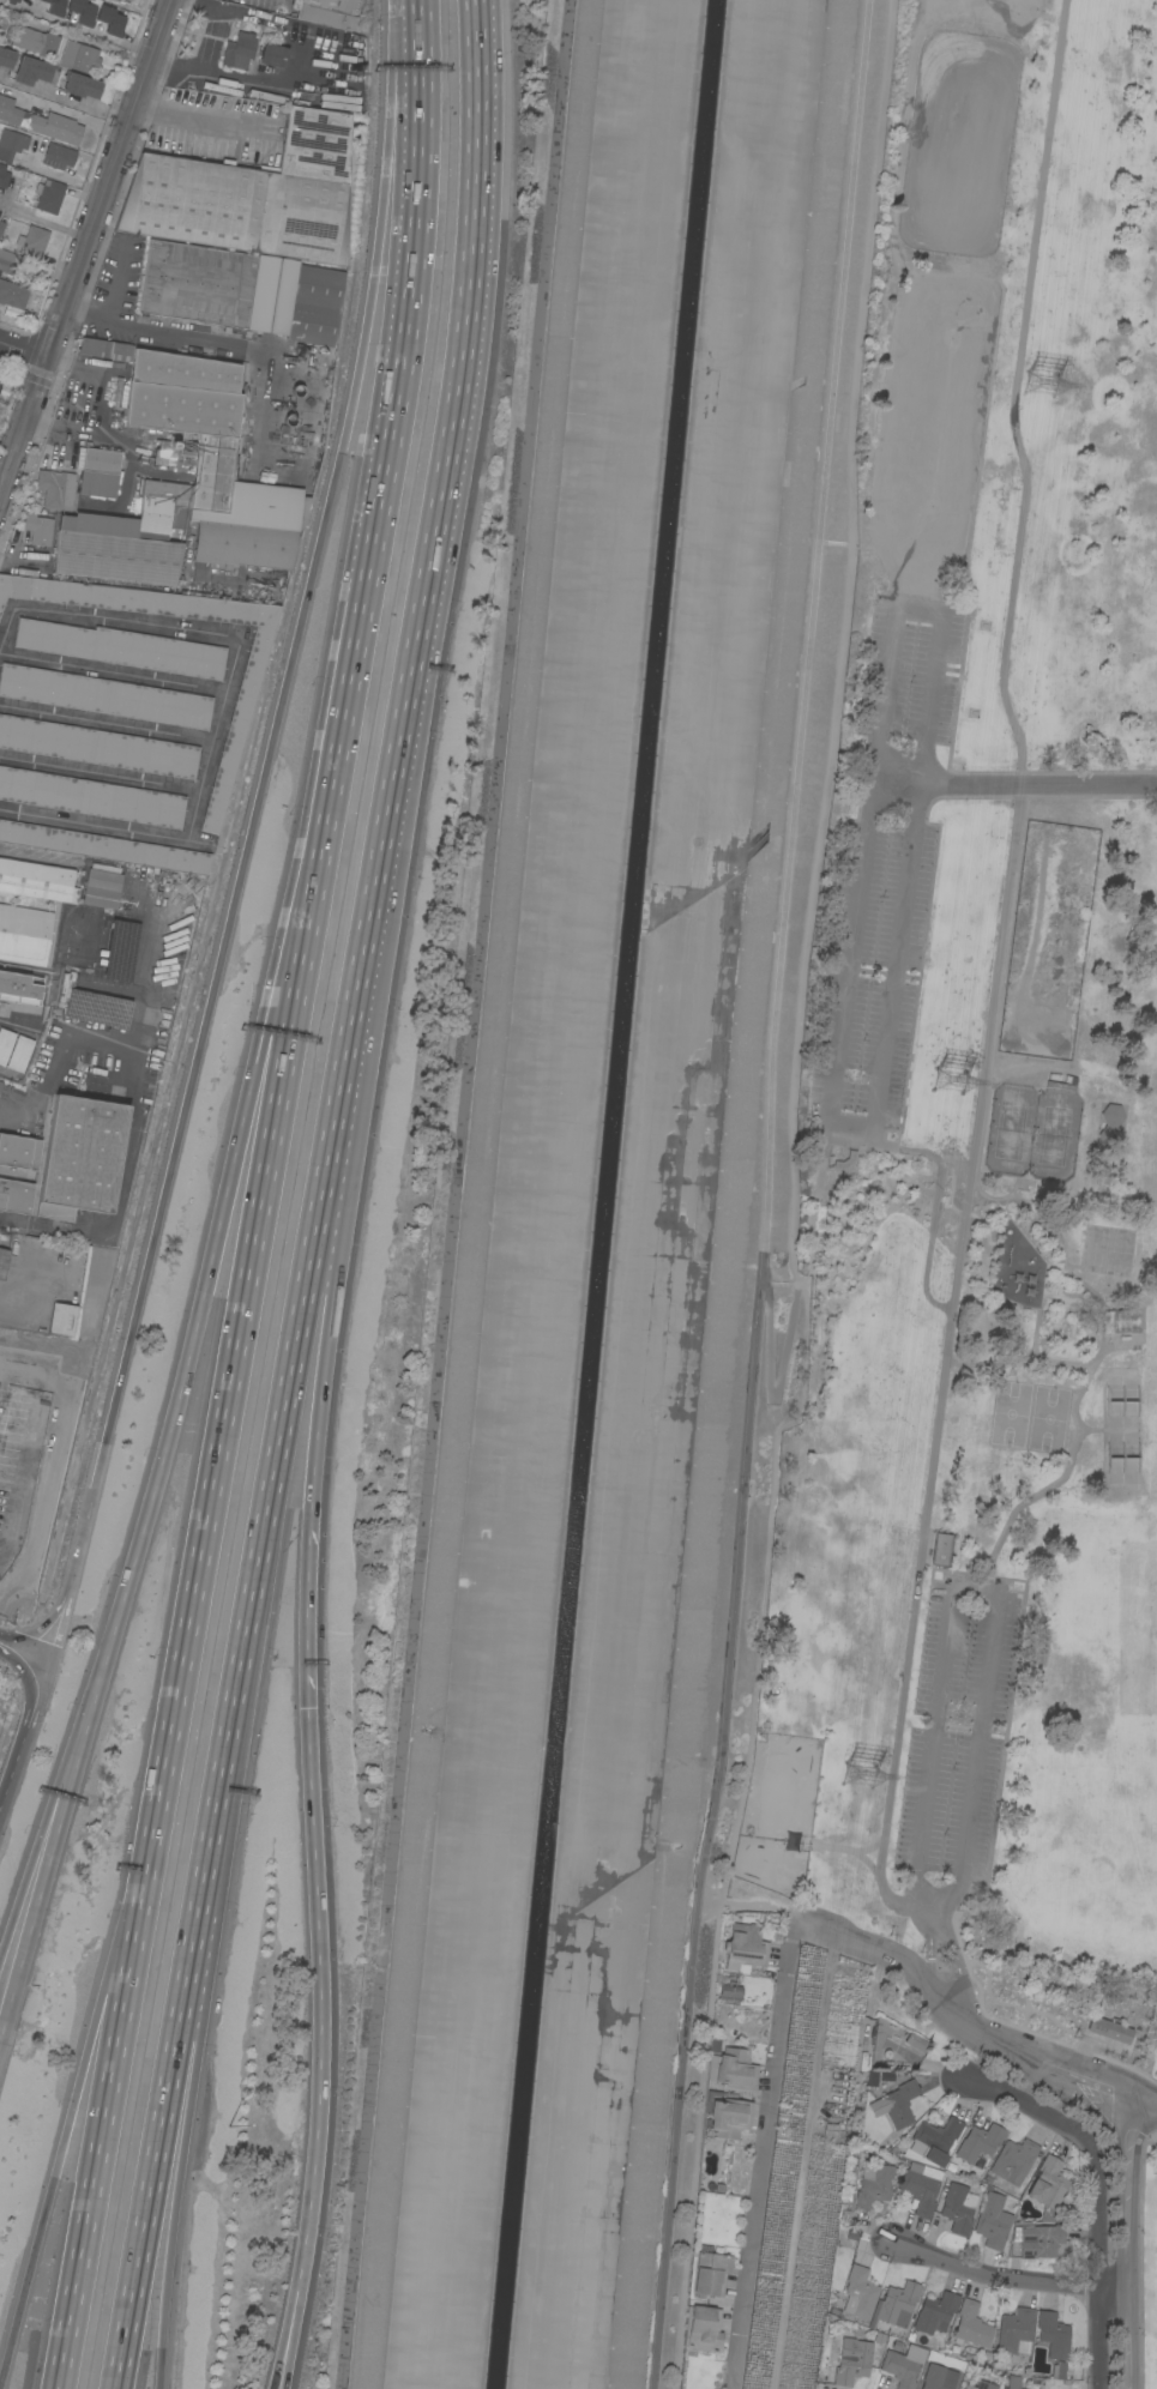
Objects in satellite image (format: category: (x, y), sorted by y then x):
building: (12, 1)
building: (120, 1)
building: (55, 7)
building: (82, 11)
building: (331, 12)
road: (252, 14)
building: (110, 19)
road: (82, 31)
building: (35, 41)
building: (239, 50)
building: (273, 55)
road: (295, 56)
building: (80, 58)
building: (5, 62)
building: (34, 72)
road: (249, 77)
building: (82, 86)
building: (11, 111)
road: (65, 113)
road: (209, 120)
building: (55, 127)
road: (394, 143)
building: (11, 144)
building: (59, 156)
building: (4, 175)
road: (60, 175)
building: (252, 194)
building: (49, 195)
road: (43, 225)
building: (32, 241)
road: (89, 249)
building: (6, 266)
building: (241, 290)
building: (12, 294)
road: (218, 345)
road: (25, 346)
building: (1, 381)
power tower: (1059, 385)
building: (307, 410)
building: (306, 423)
building: (305, 435)
road: (386, 439)
road: (10, 444)
building: (169, 445)
building: (303, 446)
building: (207, 458)
building: (302, 458)
building: (301, 469)
building: (98, 472)
building: (279, 478)
building: (56, 488)
road: (1, 490)
road: (440, 502)
building: (38, 529)
building: (249, 529)
parking lot: (875, 592)
road: (7, 632)
road: (231, 637)
building: (122, 647)
parking lot: (912, 666)
road: (113, 674)
building: (104, 695)
road: (107, 724)
building: (237, 728)
building: (98, 747)
road: (100, 774)
road: (1014, 788)
building: (91, 797)
road: (94, 825)
building: (103, 846)
building: (37, 880)
building: (103, 888)
road: (236, 889)
building: (24, 934)
building: (121, 951)
road: (291, 960)
road: (994, 969)
parking lot: (872, 971)
building: (20, 987)
building: (97, 1009)
building: (5, 1043)
building: (19, 1052)
road: (55, 1058)
park: (987, 1070)
power tower: (958, 1084)
building: (1, 1085)
building: (1110, 1124)
road: (874, 1126)
park: (1008, 1130)
road: (128, 1132)
park: (1053, 1135)
building: (19, 1152)
building: (80, 1157)
building: (845, 1160)
road: (938, 1186)
road: (339, 1192)
river: (607, 1194)
building: (16, 1195)
road: (765, 1195)
road: (790, 1201)
building: (4, 1259)
road: (791, 1315)
building: (62, 1319)
building: (1125, 1321)
road: (1034, 1334)
road: (1103, 1350)
road: (233, 1359)
road: (182, 1393)
building: (20, 1399)
park: (1010, 1413)
road: (1075, 1418)
park: (1047, 1419)
road: (1089, 1429)
park: (1119, 1430)
road: (29, 1458)
building: (7, 1532)
road: (78, 1545)
road: (306, 1545)
building: (940, 1550)
road: (975, 1598)
road: (52, 1625)
road: (19, 1648)
road: (235, 1695)
road: (24, 1731)
parking lot: (953, 1732)
power tower: (864, 1773)
road: (36, 1841)
road: (870, 1847)
road: (848, 1850)
road: (41, 1883)
road: (760, 1904)
road: (125, 1922)
road: (930, 1941)
building: (745, 1947)
road: (953, 1953)
road: (319, 1986)
building: (730, 1992)
road: (969, 2022)
building: (1109, 2029)
building: (917, 2043)
building: (734, 2069)
road: (193, 2085)
road: (1071, 2092)
building: (897, 2104)
road: (1036, 2106)
building: (727, 2116)
road: (103, 2117)
building: (934, 2140)
building: (980, 2142)
road: (761, 2155)
building: (1013, 2161)
building: (978, 2162)
building: (951, 2166)
building: (988, 2179)
building: (1048, 2183)
building: (874, 2185)
road: (49, 2188)
building: (922, 2189)
building: (958, 2208)
building: (992, 2221)
building: (1037, 2239)
road: (1128, 2243)
road: (1099, 2269)
building: (711, 2272)
road: (1010, 2275)
building: (860, 2293)
building: (896, 2305)
building: (935, 2312)
road: (285, 2327)
road: (290, 2327)
building: (972, 2327)
building: (704, 2328)
building: (1016, 2330)
building: (1053, 2334)
building: (854, 2364)
building: (903, 2365)
building: (1059, 2370)
building: (938, 2377)
building: (1013, 2382)
building: (982, 2385)

